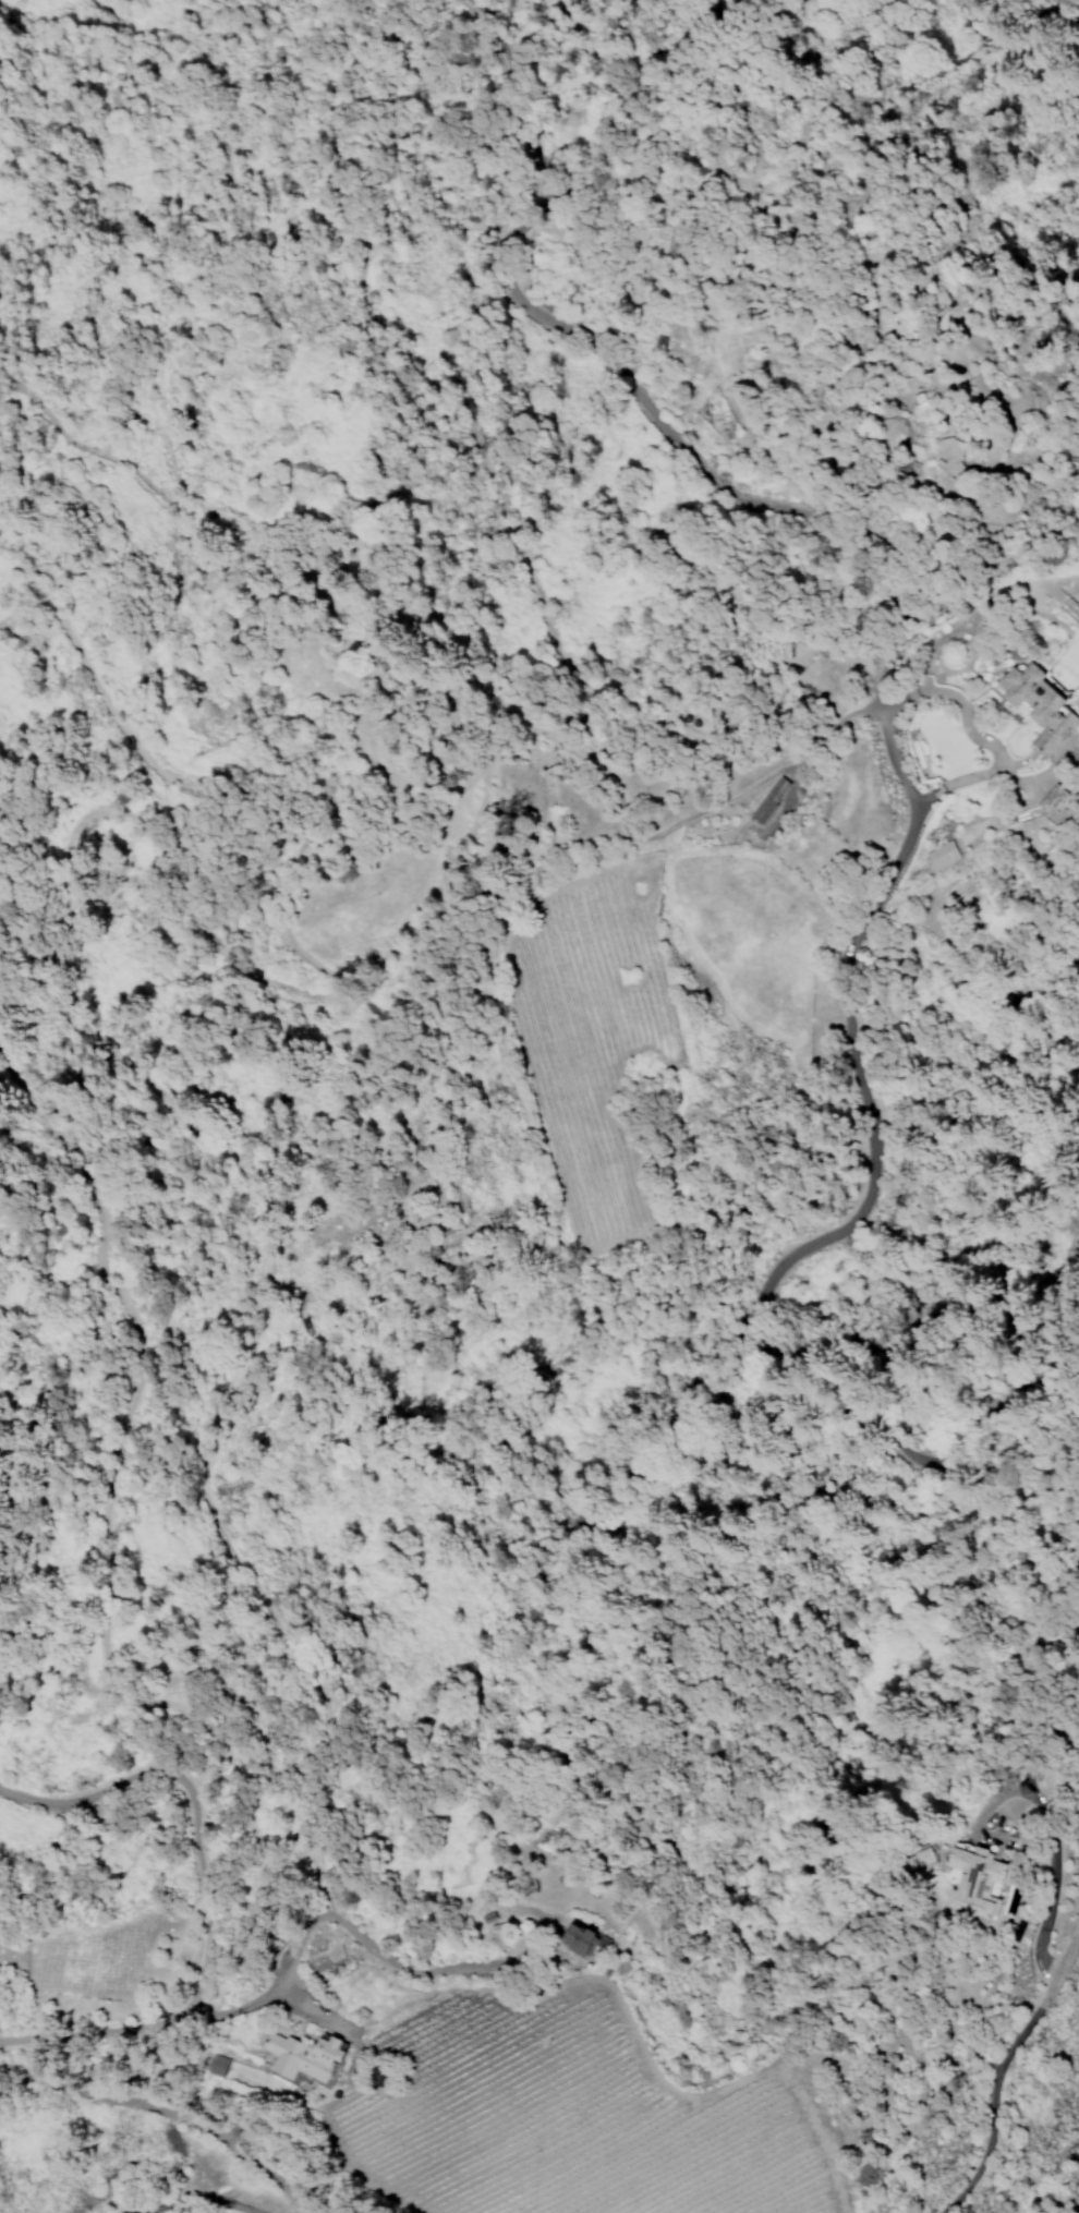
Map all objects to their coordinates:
building: (947, 458)
park: (1078, 604)
building: (1038, 705)
building: (1072, 705)
road: (962, 724)
road: (971, 775)
road: (755, 777)
road: (909, 796)
building: (1052, 799)
building: (766, 801)
road: (776, 811)
building: (939, 855)
road: (193, 1794)
road: (1046, 1824)
building: (983, 1887)
building: (574, 1939)
road: (362, 1942)
road: (282, 1948)
crop: (90, 1961)
road: (279, 1993)
building: (304, 2055)
road: (997, 2066)
road: (22, 2081)
crop: (499, 2091)
road: (97, 2092)
road: (192, 2196)

